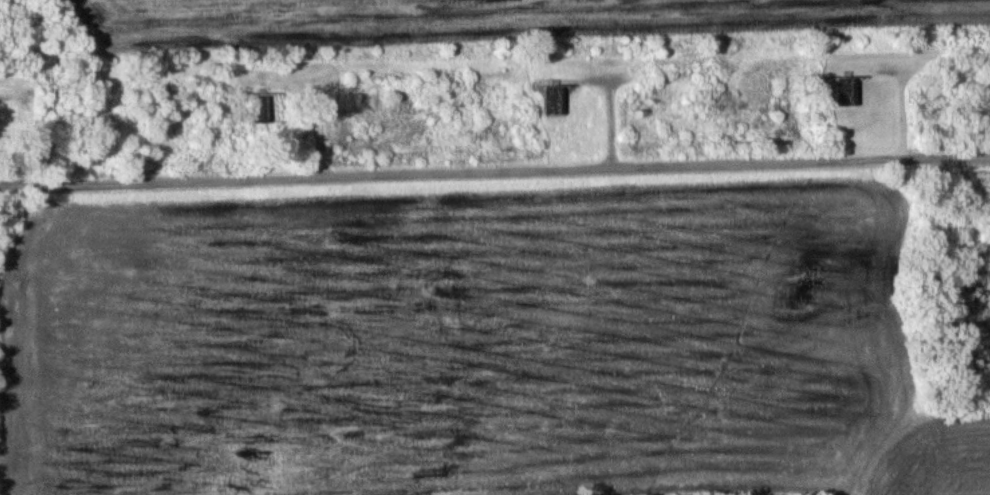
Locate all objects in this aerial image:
building: (847, 91)
road: (494, 172)

